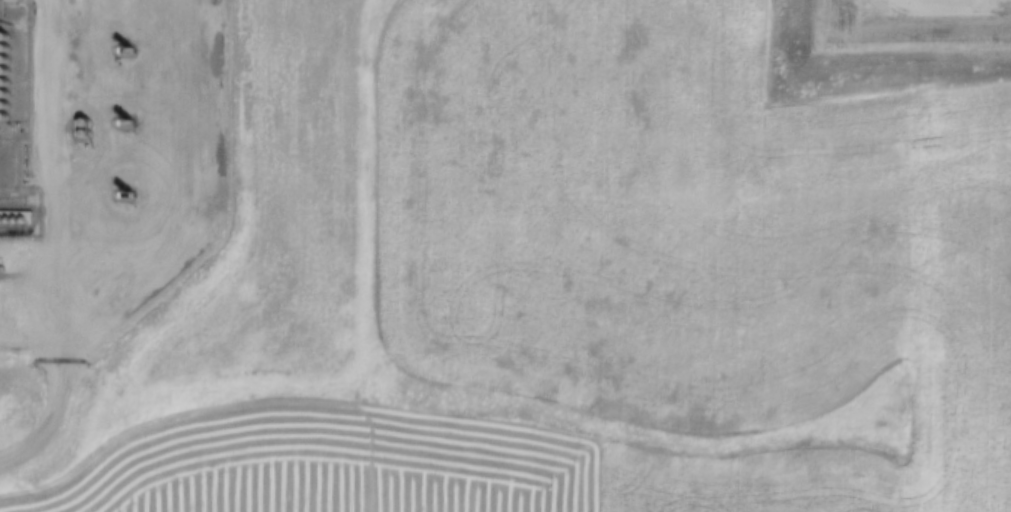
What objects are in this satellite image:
building: (7, 1)
petroleum well: (125, 50)
petroleum well: (124, 123)
petroleum well: (124, 194)
road: (57, 243)

